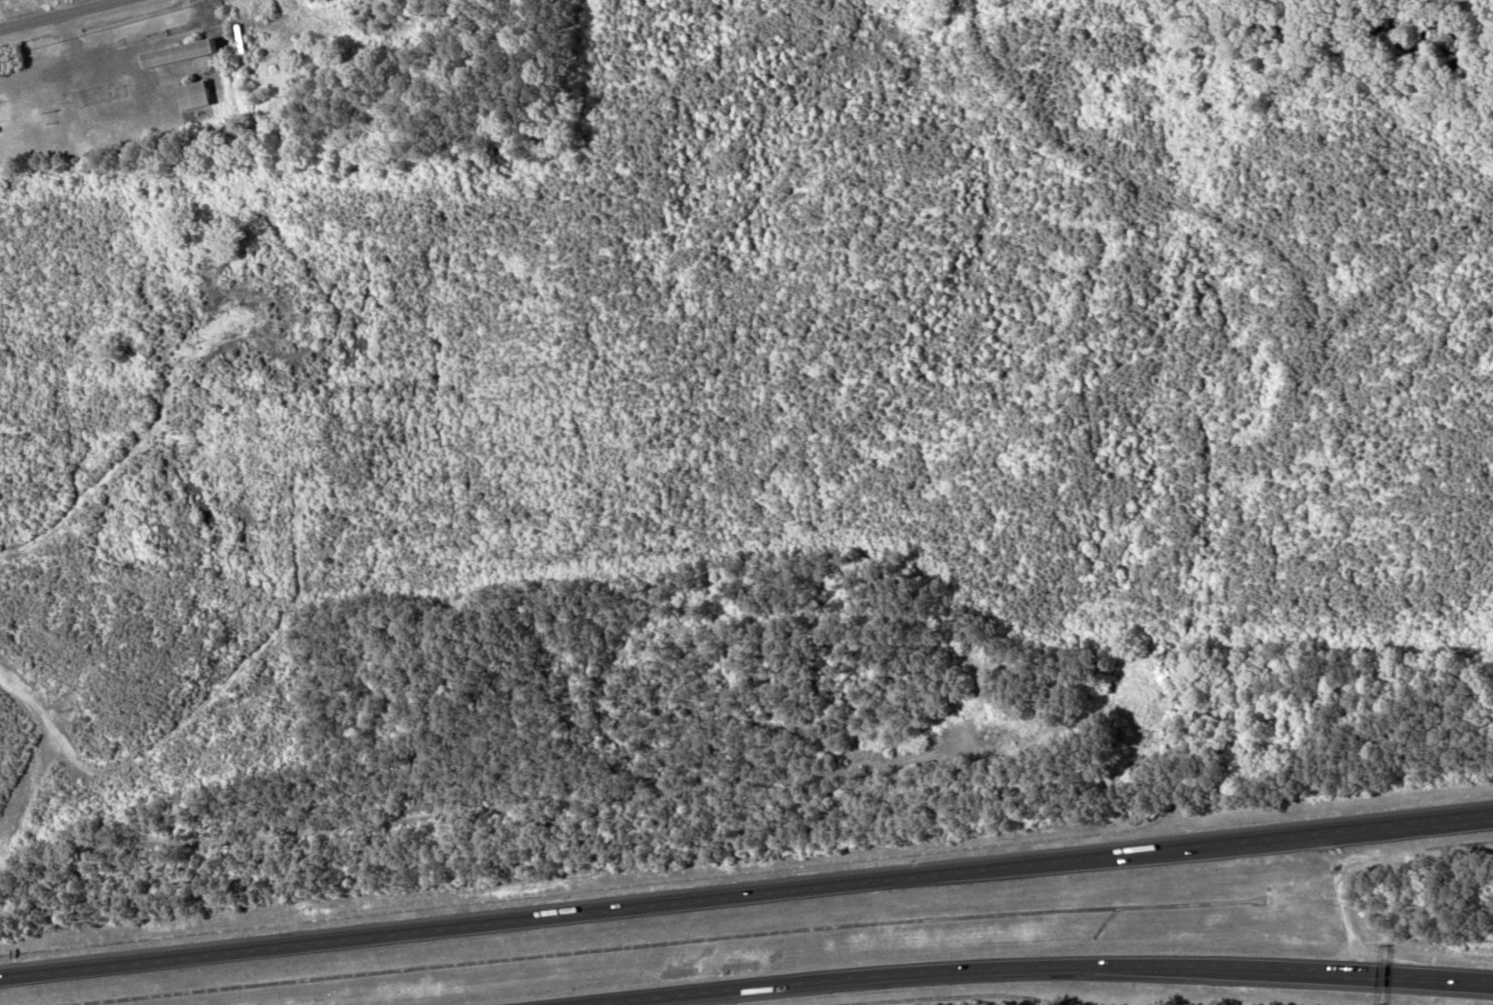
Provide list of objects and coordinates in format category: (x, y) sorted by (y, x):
road: (59, 13)
building: (182, 55)
building: (195, 95)
road: (133, 471)
road: (746, 894)
road: (996, 967)
road: (1468, 980)
road: (1468, 982)

